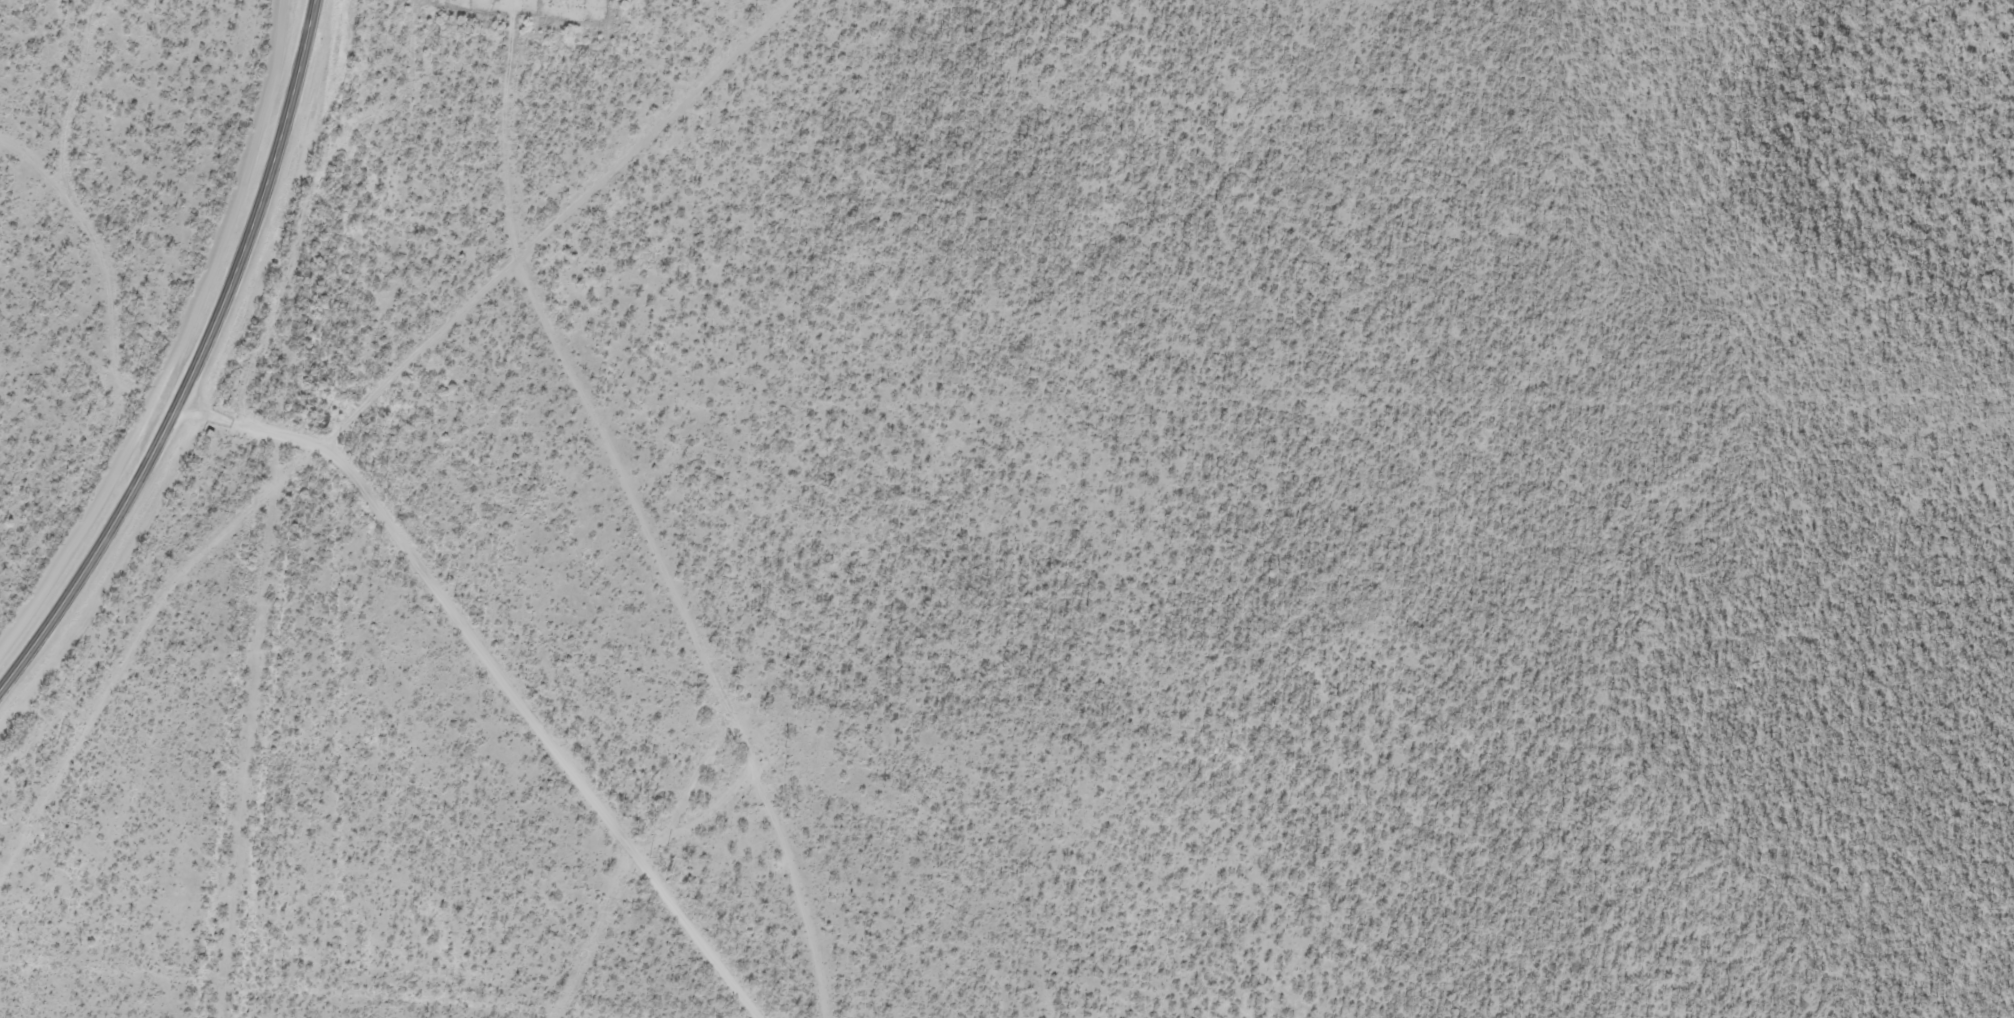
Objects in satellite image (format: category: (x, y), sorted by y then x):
road: (193, 362)
road: (340, 431)
road: (253, 727)
road: (478, 727)

